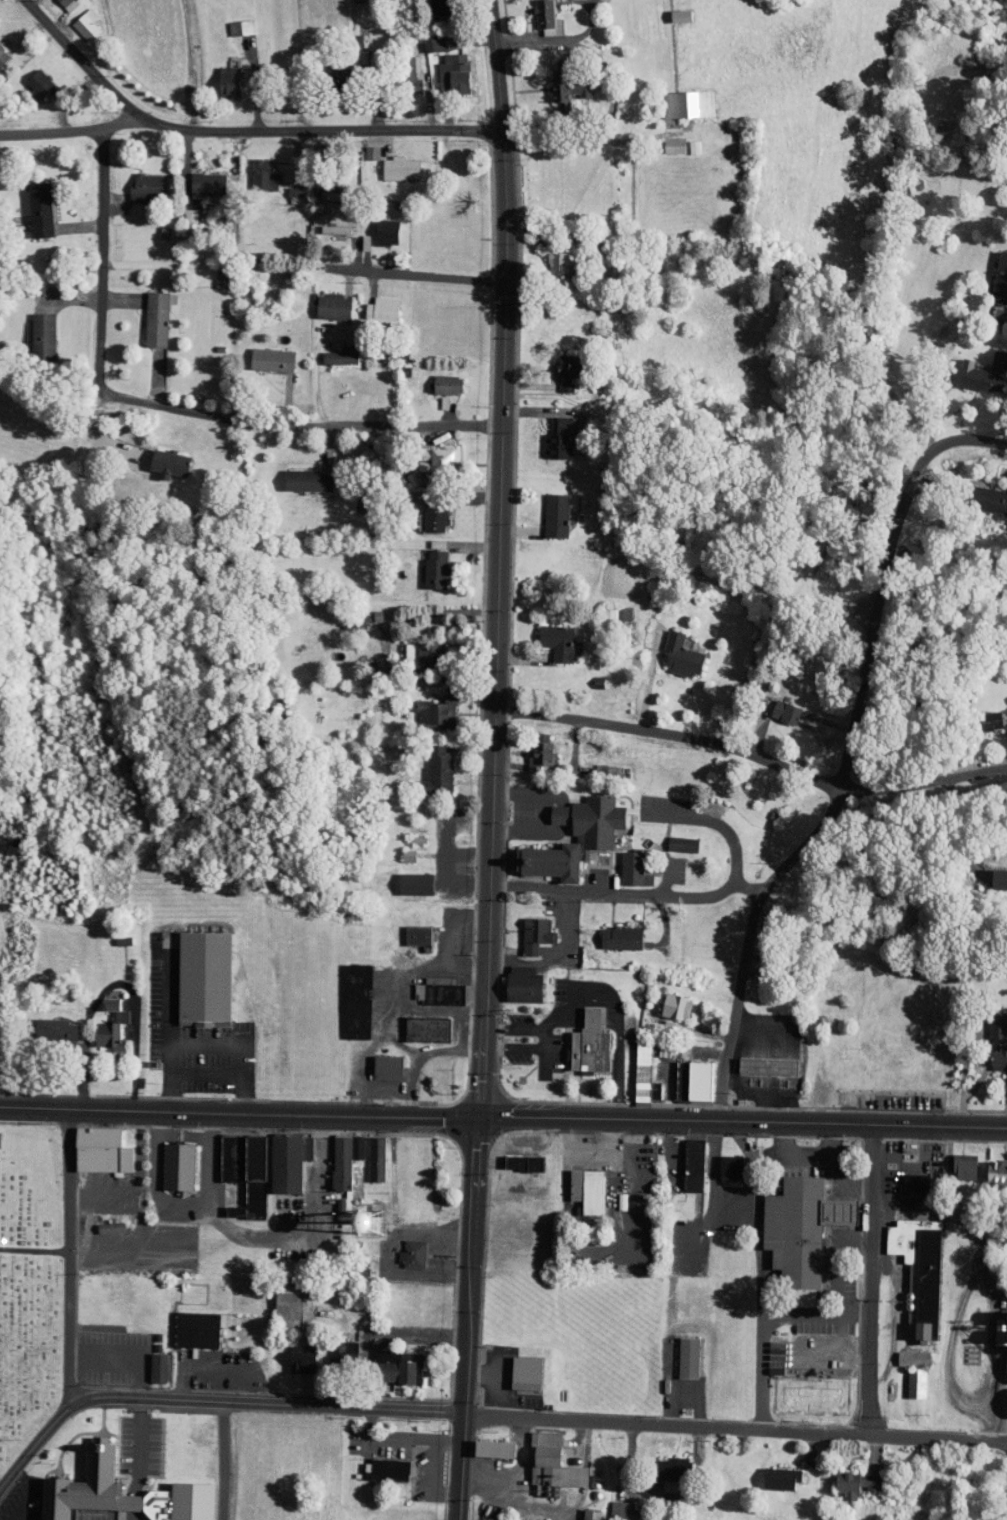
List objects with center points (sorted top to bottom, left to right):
building: (56, 1)
building: (670, 9)
building: (535, 15)
building: (75, 19)
building: (229, 22)
building: (423, 38)
road: (78, 58)
building: (400, 67)
building: (442, 67)
building: (327, 68)
building: (217, 76)
building: (26, 77)
building: (548, 80)
building: (676, 98)
road: (69, 130)
road: (318, 131)
building: (662, 141)
building: (683, 141)
building: (388, 162)
building: (252, 169)
building: (197, 178)
building: (135, 181)
building: (284, 188)
building: (28, 204)
building: (323, 223)
building: (375, 226)
building: (547, 257)
road: (103, 259)
building: (993, 271)
road: (415, 276)
building: (322, 300)
building: (371, 303)
building: (145, 313)
building: (31, 330)
building: (328, 352)
building: (260, 354)
building: (557, 368)
building: (974, 368)
building: (436, 379)
road: (301, 425)
building: (547, 434)
road: (946, 442)
building: (431, 453)
building: (157, 458)
building: (297, 474)
building: (982, 495)
road: (501, 509)
building: (545, 509)
building: (423, 514)
building: (424, 563)
building: (546, 636)
building: (670, 648)
building: (411, 650)
building: (424, 704)
building: (774, 705)
building: (979, 713)
road: (752, 760)
building: (426, 766)
road: (527, 792)
road: (817, 812)
road: (559, 813)
road: (714, 821)
building: (564, 830)
road: (526, 832)
building: (671, 837)
building: (397, 849)
building: (623, 863)
building: (994, 872)
building: (404, 877)
road: (624, 891)
building: (524, 927)
building: (406, 928)
building: (610, 931)
road: (555, 952)
building: (193, 971)
road: (104, 977)
building: (512, 978)
building: (428, 985)
building: (347, 994)
building: (665, 999)
building: (100, 1020)
building: (44, 1022)
building: (416, 1023)
road: (156, 1028)
road: (230, 1036)
building: (991, 1037)
building: (579, 1038)
building: (756, 1060)
building: (376, 1061)
building: (631, 1065)
road: (193, 1067)
road: (482, 1068)
building: (683, 1073)
road: (239, 1111)
traffic signals: (479, 1117)
road: (743, 1121)
building: (90, 1144)
building: (218, 1151)
road: (806, 1151)
building: (365, 1152)
building: (333, 1153)
building: (278, 1155)
building: (512, 1156)
building: (683, 1158)
building: (167, 1160)
building: (721, 1160)
road: (764, 1160)
building: (954, 1160)
road: (937, 1164)
building: (991, 1164)
building: (241, 1174)
road: (839, 1175)
building: (904, 1176)
road: (703, 1179)
building: (576, 1183)
building: (99, 1221)
building: (790, 1227)
road: (825, 1247)
building: (402, 1248)
road: (35, 1250)
road: (69, 1258)
building: (908, 1263)
road: (747, 1272)
road: (873, 1278)
park: (29, 1282)
road: (949, 1294)
building: (277, 1299)
road: (811, 1307)
road: (468, 1318)
building: (997, 1322)
building: (185, 1323)
building: (331, 1346)
building: (677, 1351)
building: (291, 1352)
building: (902, 1352)
building: (387, 1360)
building: (147, 1361)
building: (515, 1367)
building: (905, 1377)
road: (263, 1403)
road: (734, 1427)
building: (484, 1442)
road: (32, 1446)
building: (542, 1457)
road: (125, 1458)
road: (211, 1460)
building: (375, 1464)
building: (660, 1465)
building: (770, 1472)
building: (845, 1477)
building: (112, 1488)
road: (13, 1495)
building: (612, 1508)

